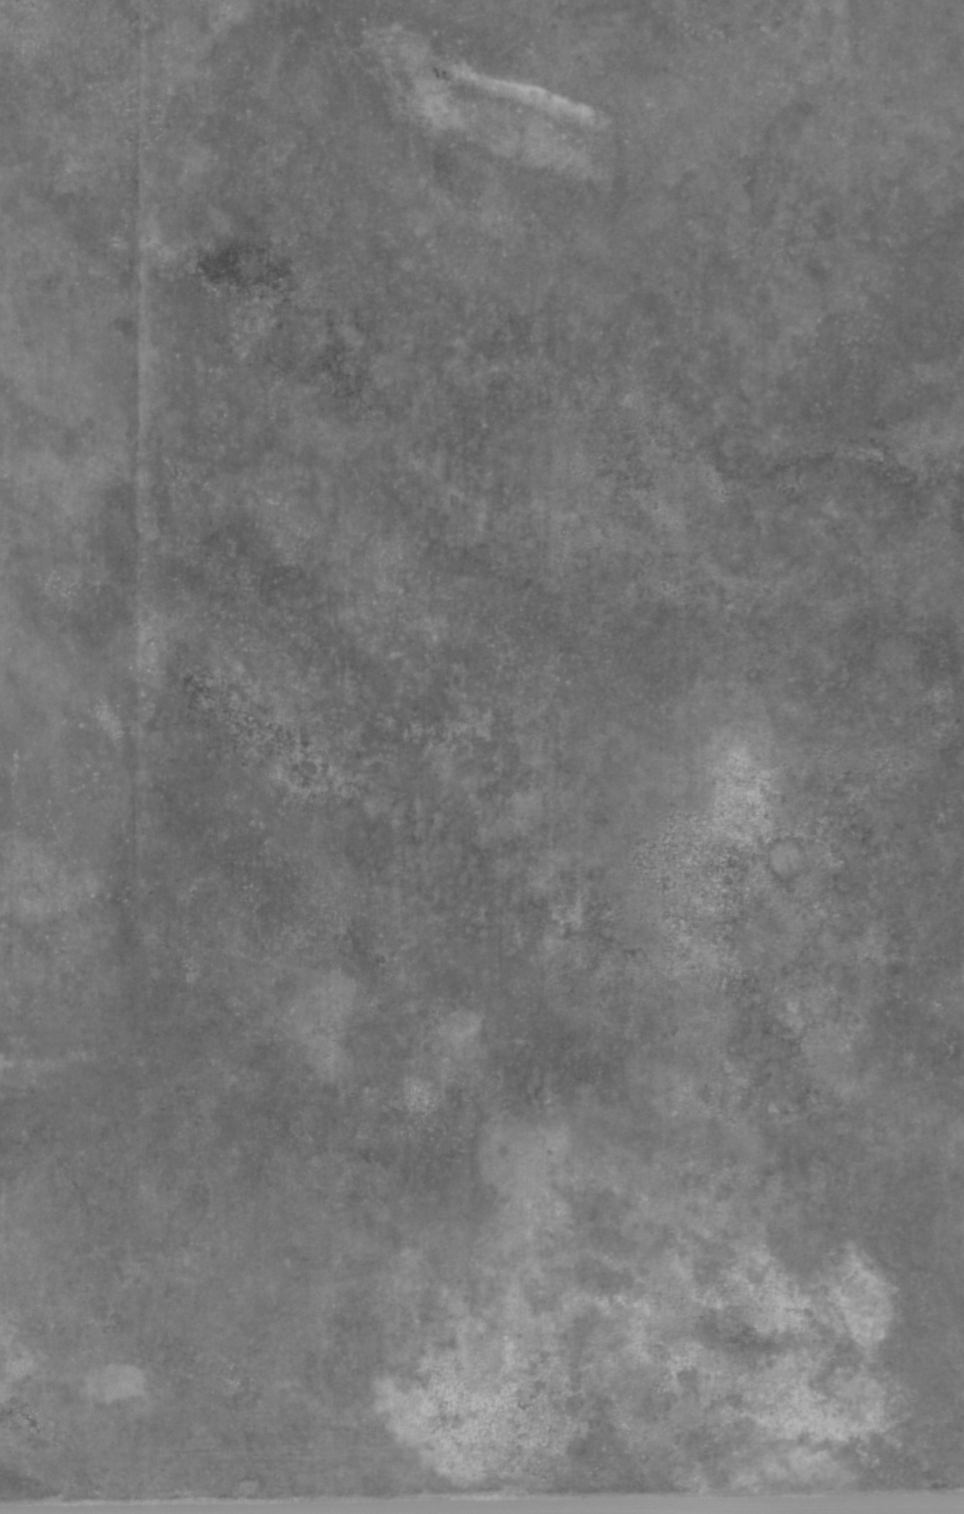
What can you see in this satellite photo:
road: (674, 1510)

